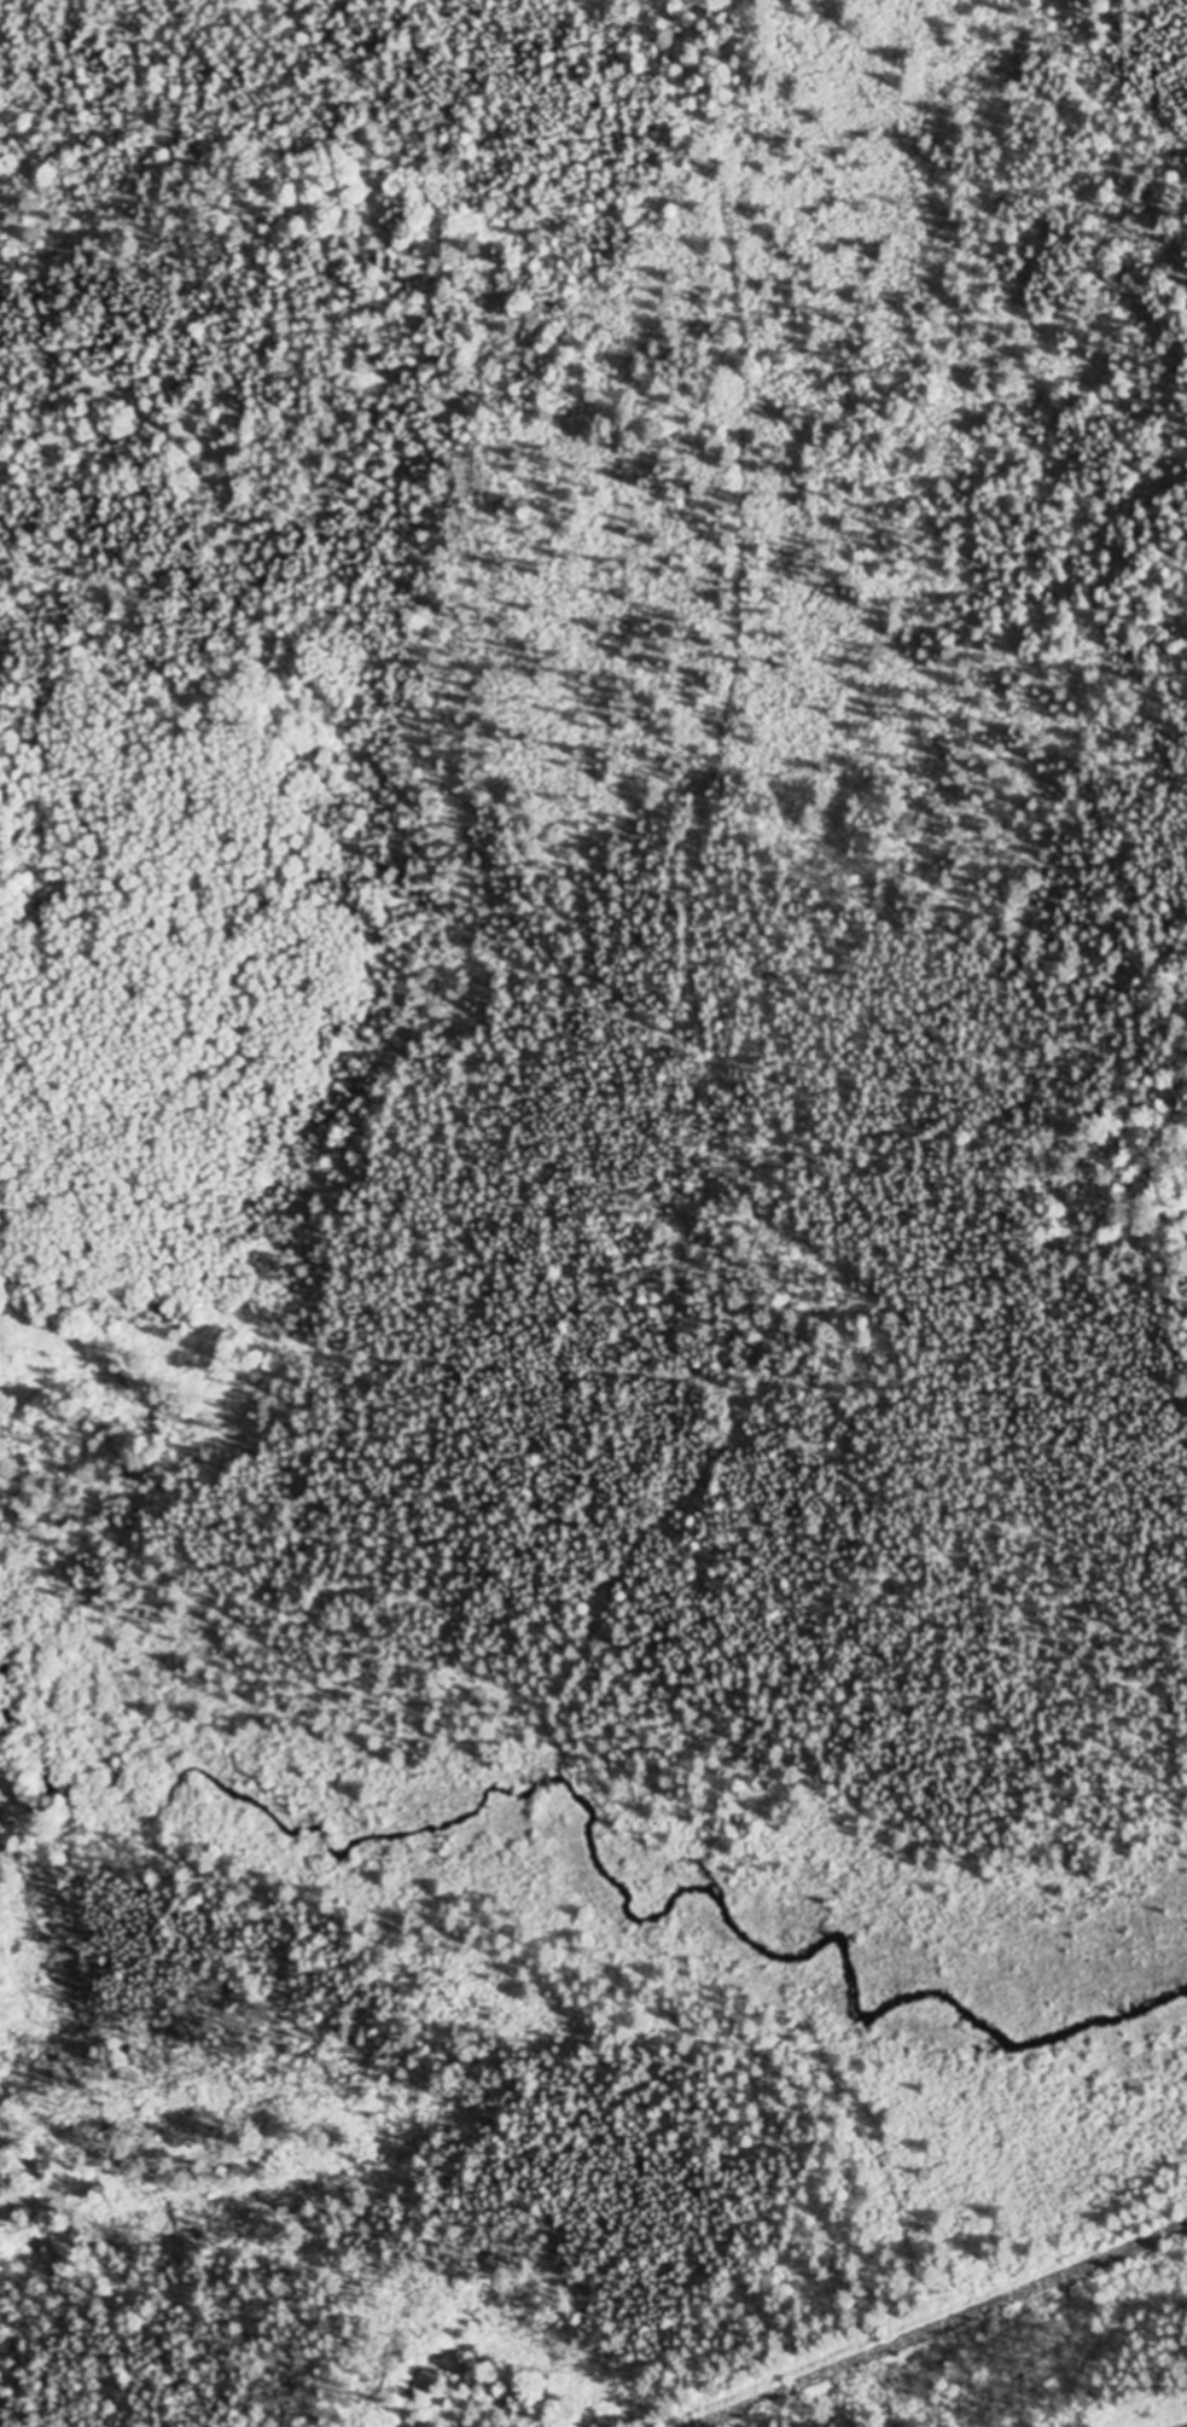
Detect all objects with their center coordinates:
railway: (942, 2324)
road: (1176, 2423)

